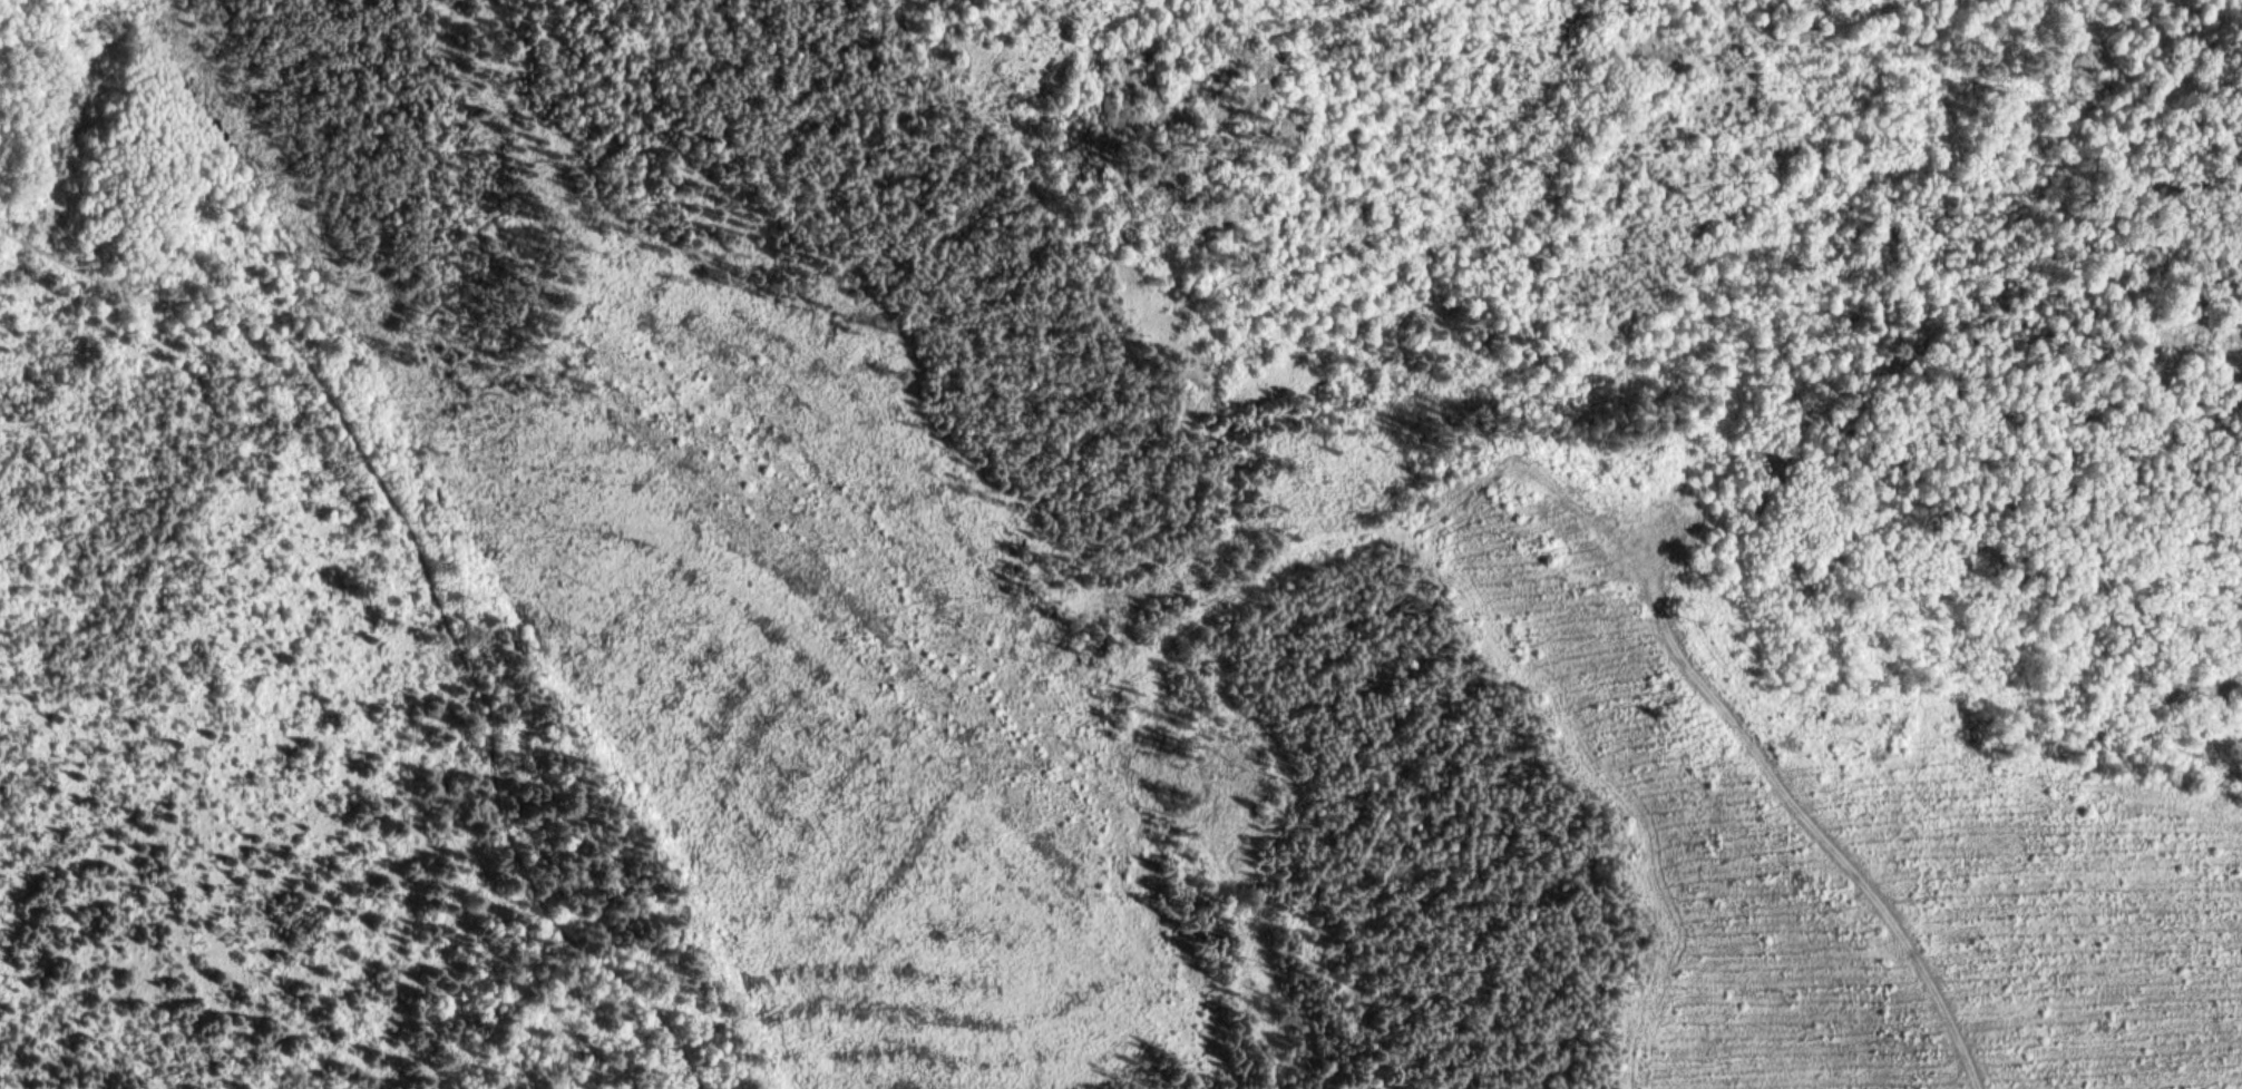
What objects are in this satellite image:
road: (435, 585)
road: (1788, 772)

